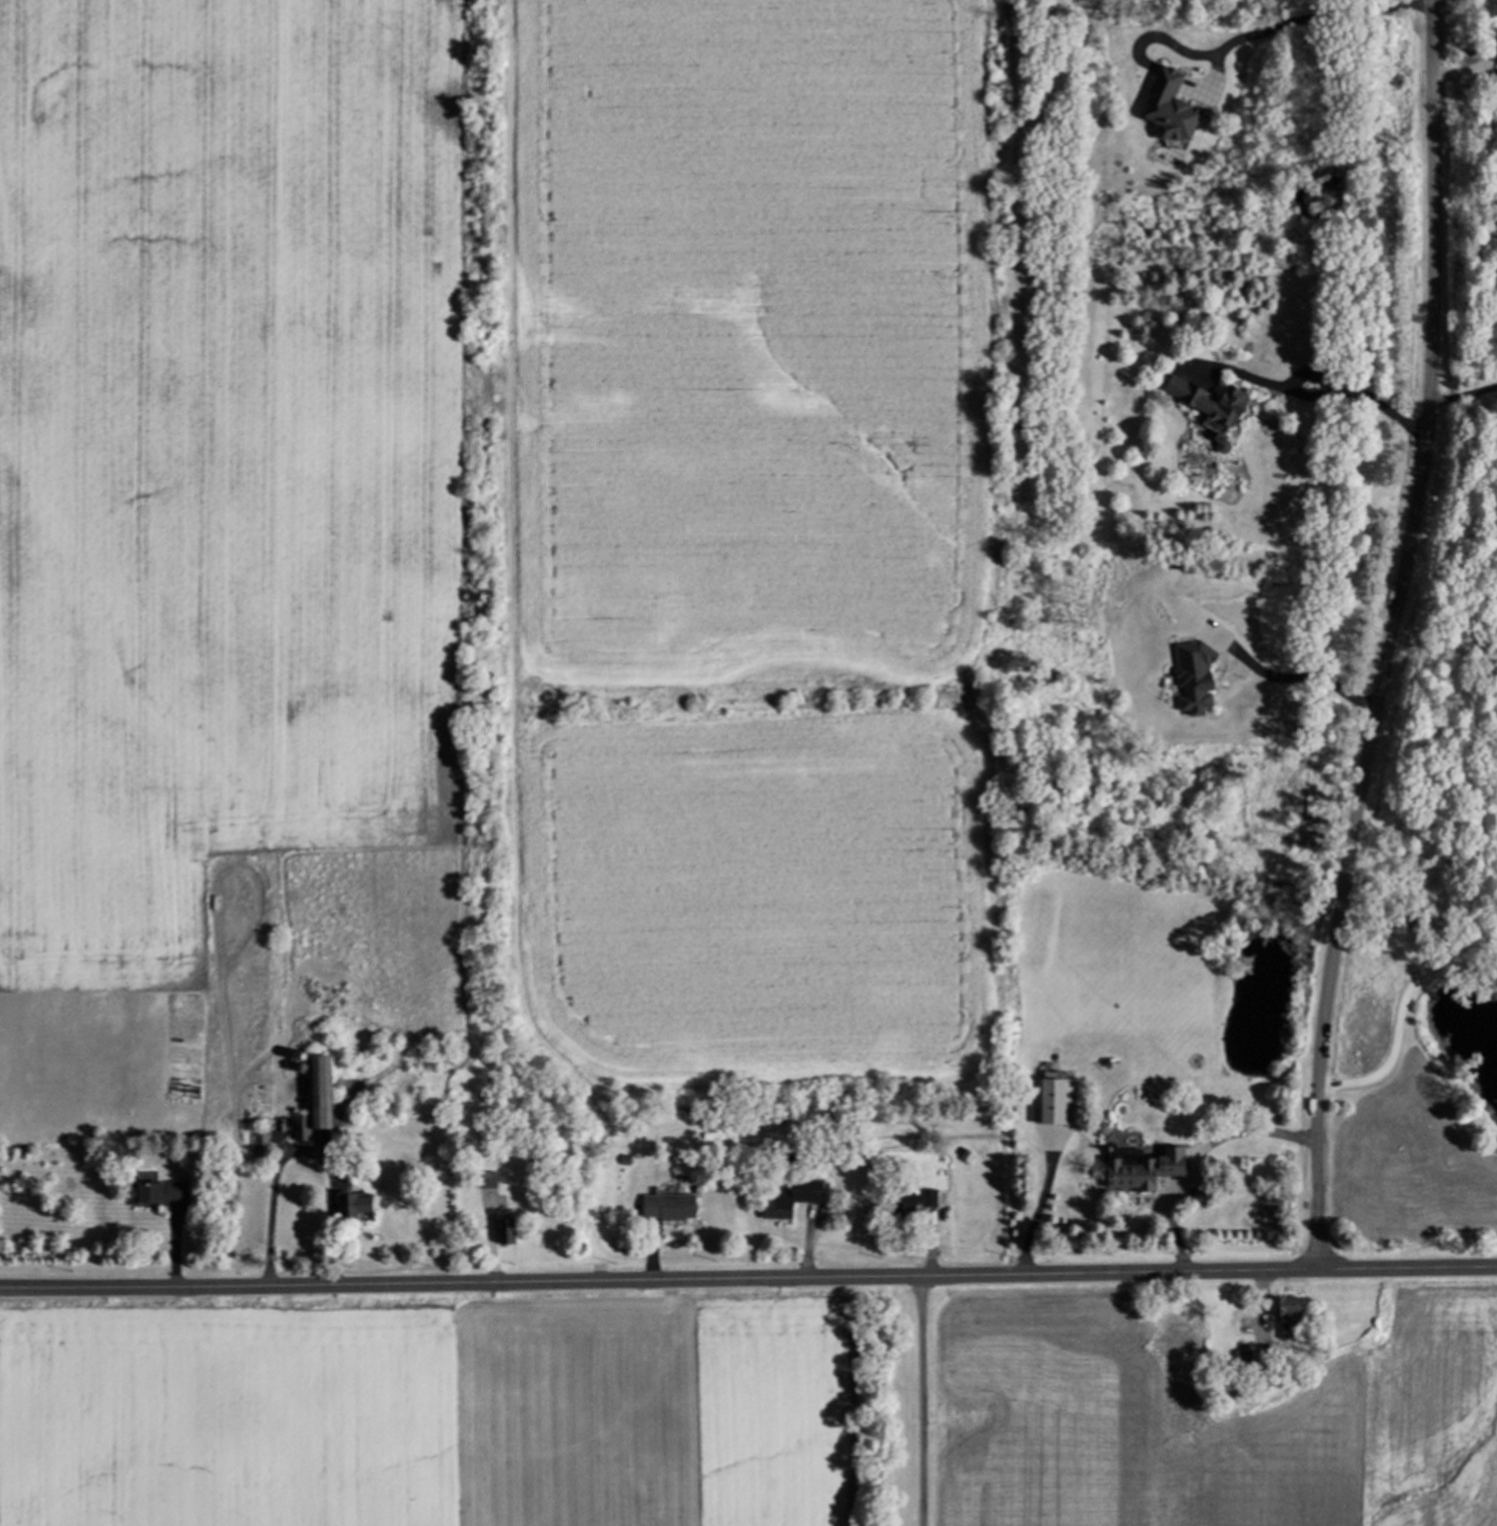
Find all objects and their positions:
road: (1267, 30)
road: (1467, 67)
building: (1174, 108)
road: (1463, 394)
road: (1374, 399)
building: (1215, 408)
crop: (518, 561)
road: (1392, 637)
road: (1444, 644)
road: (1291, 676)
road: (1424, 822)
road: (1400, 1012)
building: (319, 1102)
building: (1054, 1104)
building: (261, 1147)
road: (1196, 1158)
road: (276, 1176)
building: (1133, 1179)
building: (489, 1182)
building: (159, 1196)
building: (815, 1196)
building: (914, 1204)
building: (358, 1210)
building: (670, 1210)
building: (778, 1212)
building: (509, 1234)
road: (748, 1279)
building: (1289, 1317)
building: (1242, 1360)
road: (922, 1401)
crop: (431, 1409)
crop: (1211, 1416)

